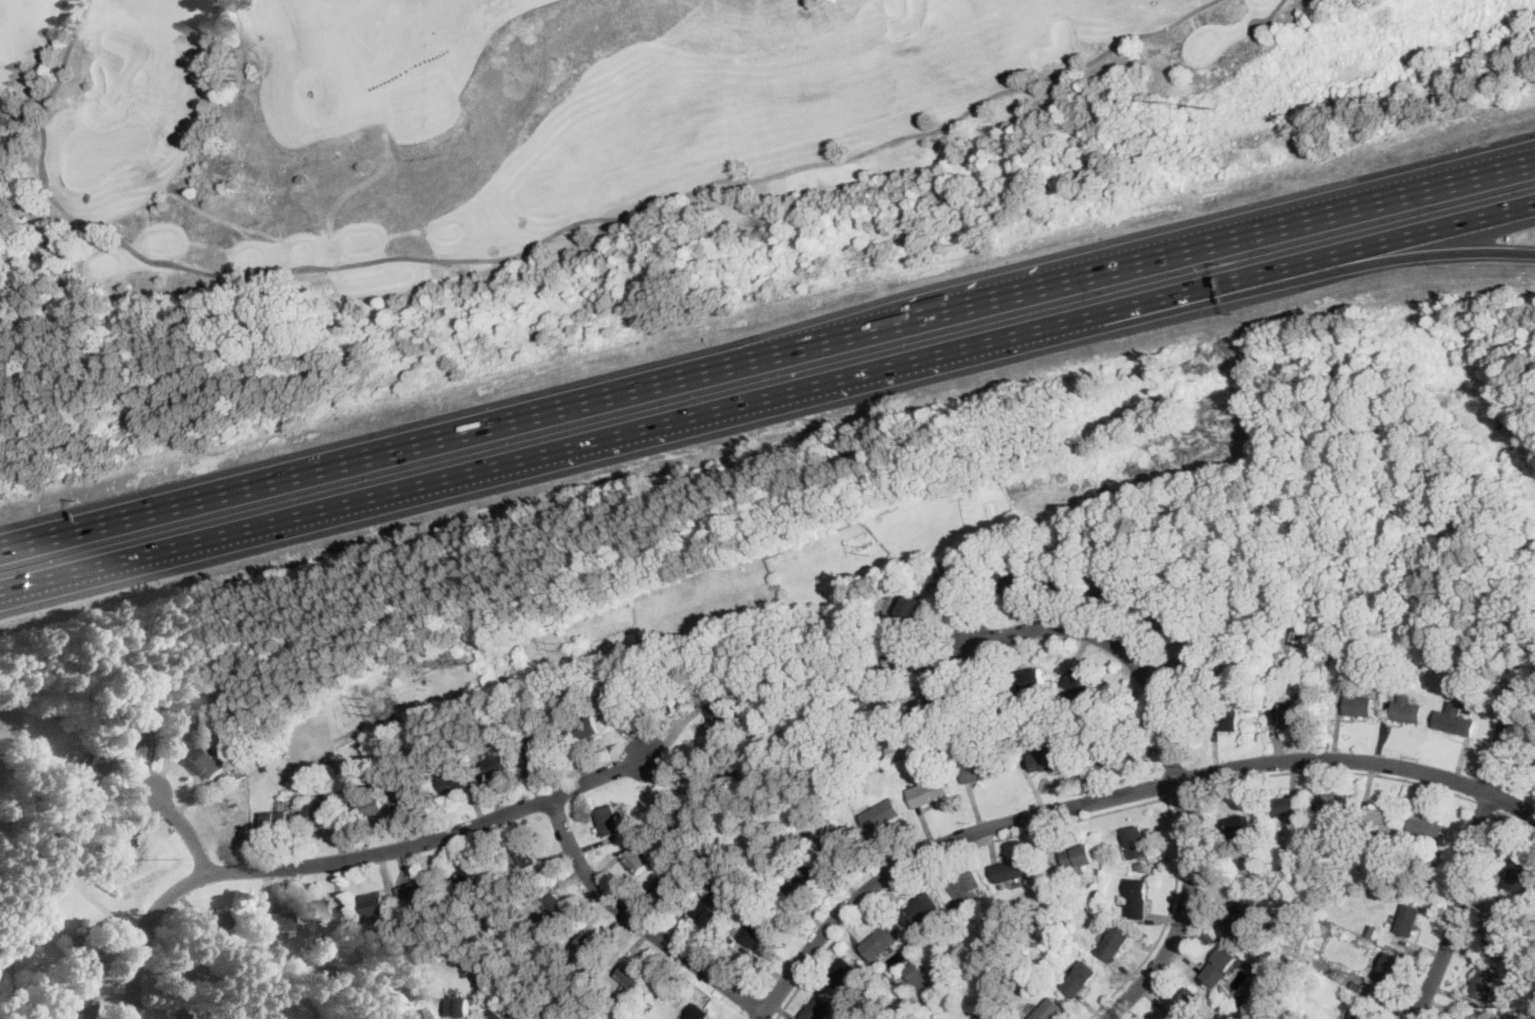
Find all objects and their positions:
road: (1270, 14)
road: (30, 77)
power tower: (1172, 102)
power tower: (1217, 108)
park: (500, 132)
road: (1442, 172)
road: (541, 244)
road: (1394, 257)
road: (767, 354)
road: (768, 398)
power tower: (1229, 436)
building: (878, 518)
power tower: (869, 551)
building: (984, 577)
building: (954, 579)
building: (1007, 580)
building: (1062, 580)
building: (1114, 591)
building: (910, 609)
building: (1172, 626)
building: (1318, 629)
building: (1340, 644)
power tower: (559, 648)
building: (899, 658)
building: (1411, 658)
building: (1421, 658)
building: (1448, 667)
building: (1196, 668)
building: (1031, 679)
building: (1079, 684)
building: (1313, 685)
building: (573, 689)
building: (135, 691)
building: (857, 696)
building: (1005, 697)
building: (666, 698)
building: (940, 698)
building: (619, 702)
power tower: (365, 705)
building: (1358, 706)
building: (460, 708)
building: (184, 709)
building: (1122, 709)
building: (1408, 710)
building: (998, 712)
building: (1294, 713)
building: (412, 714)
building: (722, 716)
building: (1455, 720)
building: (1228, 721)
building: (182, 729)
building: (589, 729)
building: (992, 733)
building: (133, 735)
building: (429, 742)
building: (398, 747)
building: (537, 747)
building: (1106, 747)
building: (899, 751)
building: (368, 753)
building: (823, 753)
building: (1045, 759)
road: (1173, 759)
building: (99, 762)
building: (210, 764)
building: (498, 765)
building: (266, 767)
building: (48, 768)
building: (982, 770)
building: (36, 771)
road: (1333, 772)
building: (702, 780)
building: (453, 783)
building: (929, 791)
building: (415, 796)
road: (1113, 796)
road: (1178, 797)
building: (73, 804)
building: (368, 805)
building: (1336, 805)
road: (1487, 806)
building: (1287, 807)
building: (321, 812)
building: (881, 814)
building: (1378, 819)
road: (1517, 819)
building: (276, 820)
building: (610, 821)
road: (1062, 823)
road: (182, 826)
building: (1243, 826)
building: (1426, 830)
building: (677, 836)
building: (109, 838)
building: (838, 841)
building: (1349, 841)
building: (1137, 843)
building: (88, 848)
road: (1473, 851)
building: (1078, 856)
road: (347, 857)
building: (702, 857)
building: (524, 859)
building: (638, 861)
building: (1140, 866)
building: (1054, 869)
building: (1429, 869)
building: (1012, 871)
building: (1361, 871)
building: (1520, 873)
building: (52, 877)
building: (467, 878)
building: (802, 879)
building: (964, 888)
building: (669, 889)
building: (406, 892)
building: (426, 892)
building: (1097, 896)
building: (27, 898)
building: (1137, 899)
building: (688, 904)
building: (374, 906)
building: (555, 907)
building: (1058, 907)
building: (921, 910)
building: (329, 912)
building: (708, 914)
building: (1243, 916)
building: (997, 917)
building: (1069, 919)
building: (1408, 920)
building: (218, 921)
building: (279, 921)
building: (412, 921)
road: (637, 921)
building: (753, 930)
building: (1371, 931)
building: (1500, 931)
building: (454, 932)
building: (190, 934)
building: (731, 942)
building: (881, 942)
building: (19, 944)
building: (589, 944)
building: (1112, 946)
building: (1530, 956)
building: (982, 964)
building: (1220, 966)
building: (88, 967)
building: (1390, 969)
building: (567, 971)
building: (180, 973)
building: (325, 973)
building: (845, 974)
building: (631, 975)
building: (25, 977)
building: (919, 977)
building: (481, 979)
building: (1081, 979)
building: (1485, 985)
building: (1357, 987)
building: (205, 991)
building: (1347, 992)
building: (658, 993)
building: (1248, 1003)
building: (1187, 1004)
building: (458, 1007)
building: (86, 1008)
building: (27, 1010)
building: (816, 1010)
building: (1049, 1010)
building: (700, 1012)
building: (1362, 1012)
building: (368, 1013)
building: (179, 1015)
building: (420, 1015)
building: (495, 1015)
building: (909, 1016)
building: (985, 1016)
building: (1531, 1016)

